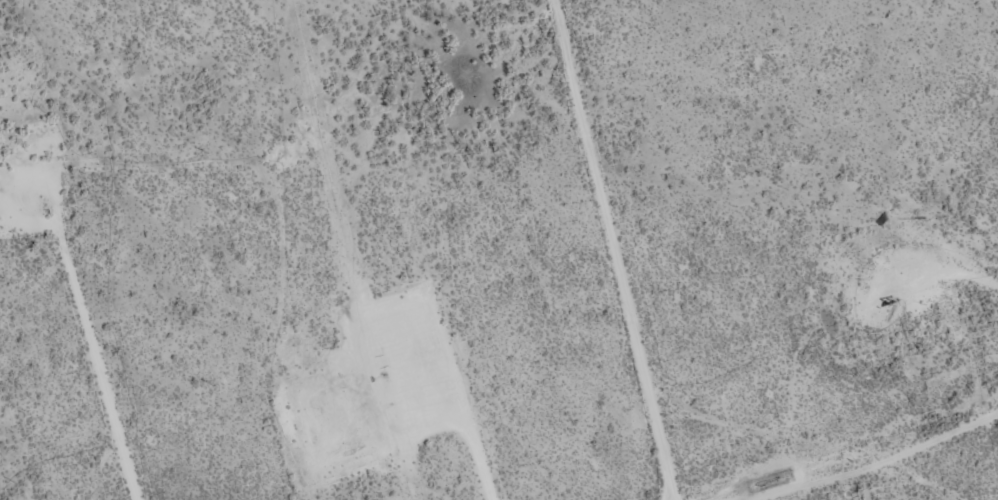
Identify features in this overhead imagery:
road: (573, 250)
road: (870, 465)

